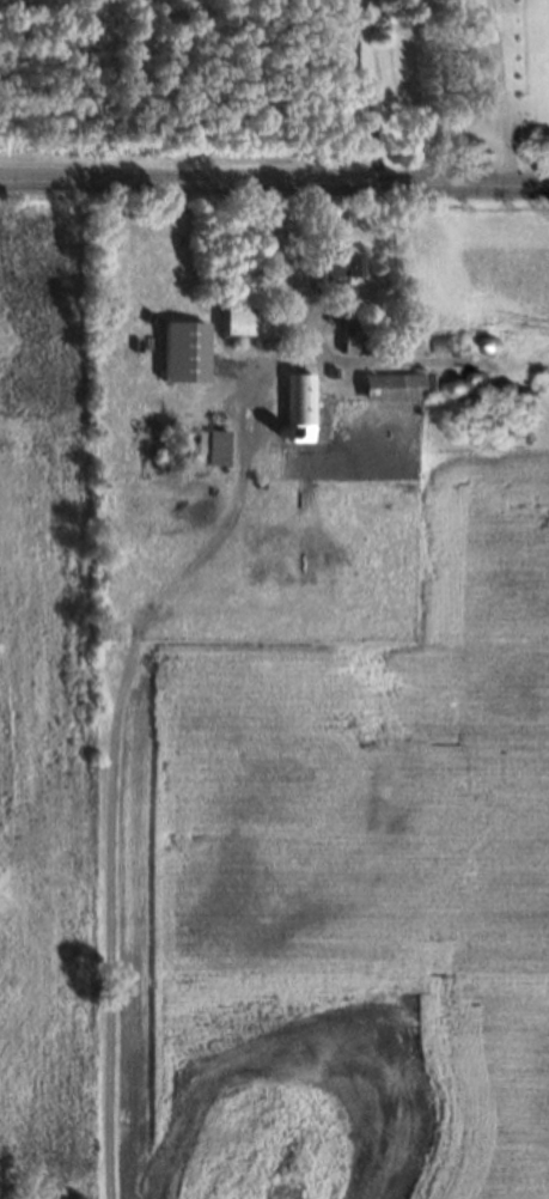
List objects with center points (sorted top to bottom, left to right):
road: (360, 91)
road: (500, 91)
road: (274, 182)
building: (338, 261)
road: (285, 264)
building: (256, 325)
building: (384, 342)
building: (420, 342)
building: (489, 342)
building: (362, 346)
building: (190, 353)
building: (330, 371)
building: (476, 375)
building: (523, 379)
building: (539, 382)
building: (459, 384)
building: (508, 384)
building: (402, 388)
building: (530, 389)
building: (303, 408)
building: (281, 428)
building: (222, 450)

